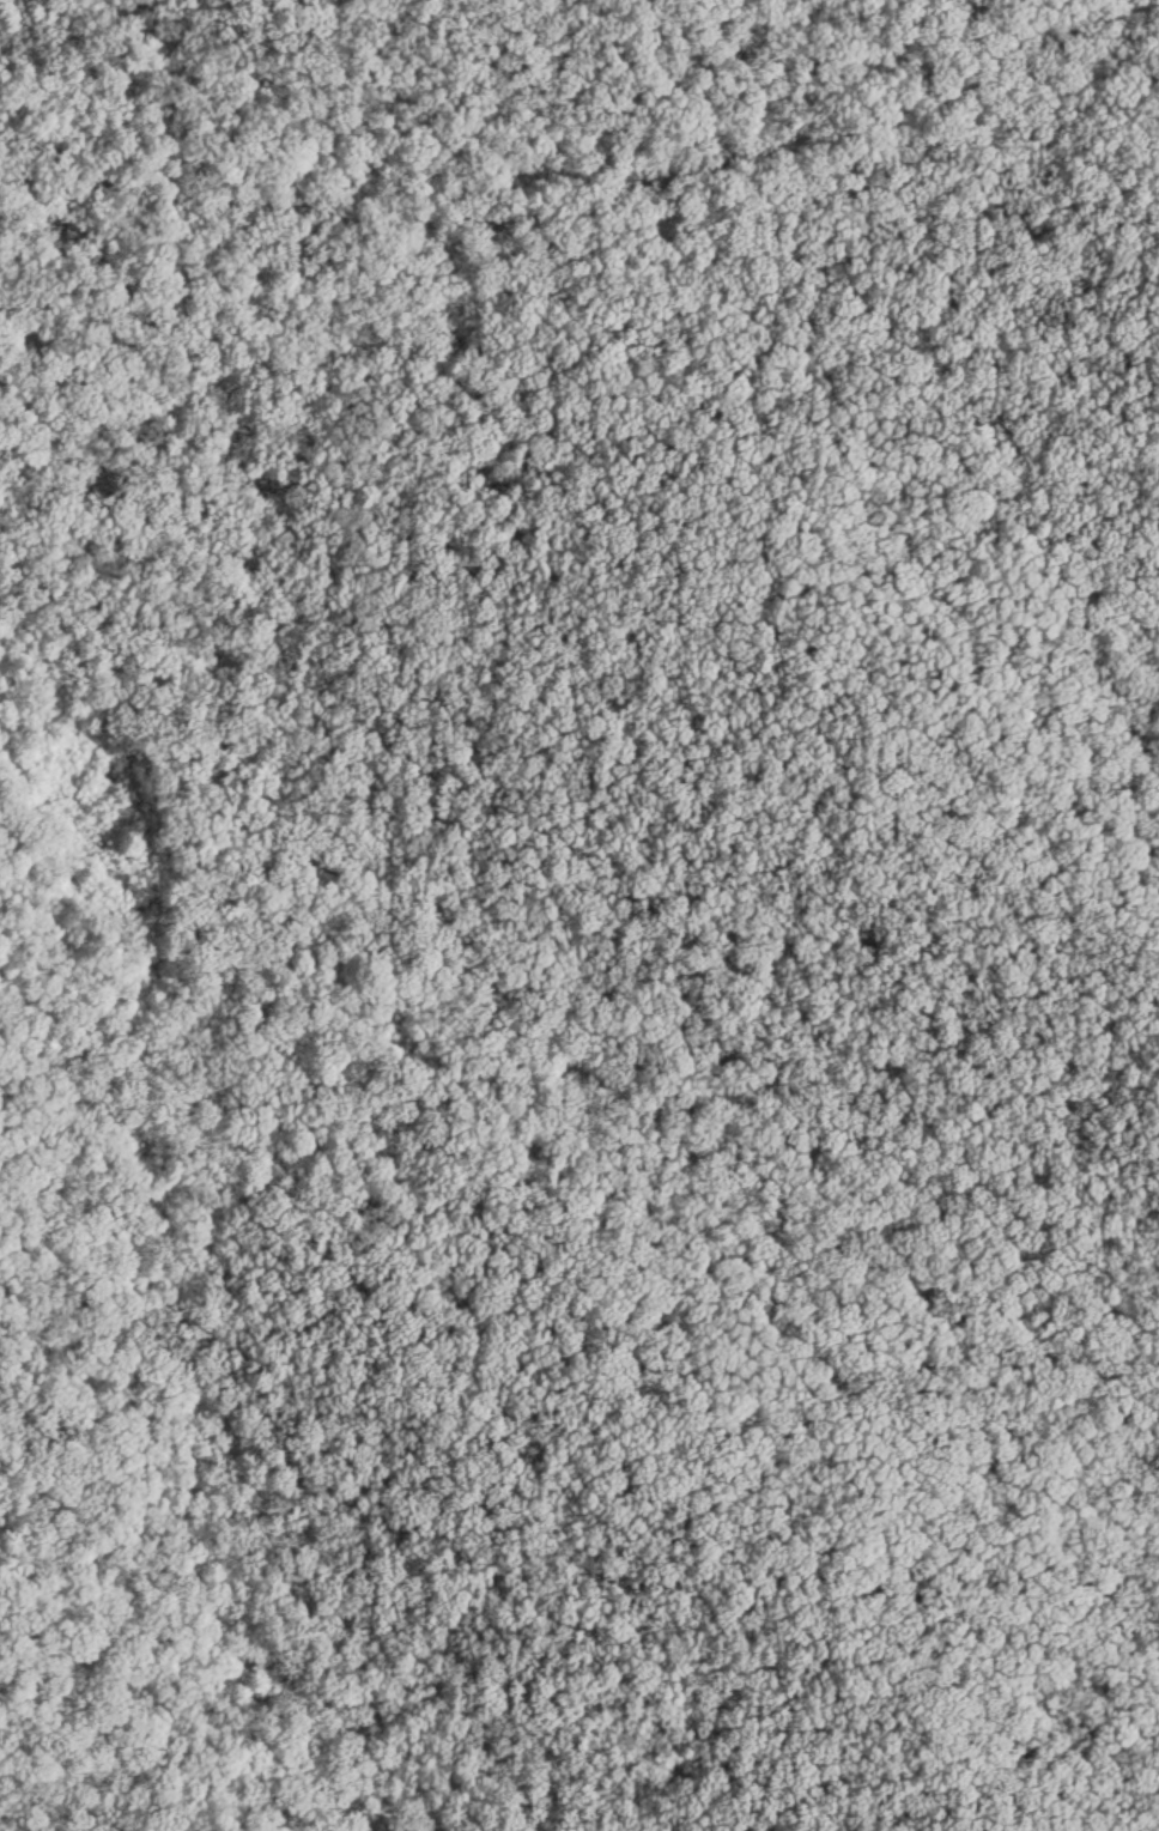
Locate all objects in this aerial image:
road: (929, 108)
road: (353, 218)
road: (148, 984)
road: (558, 1011)

